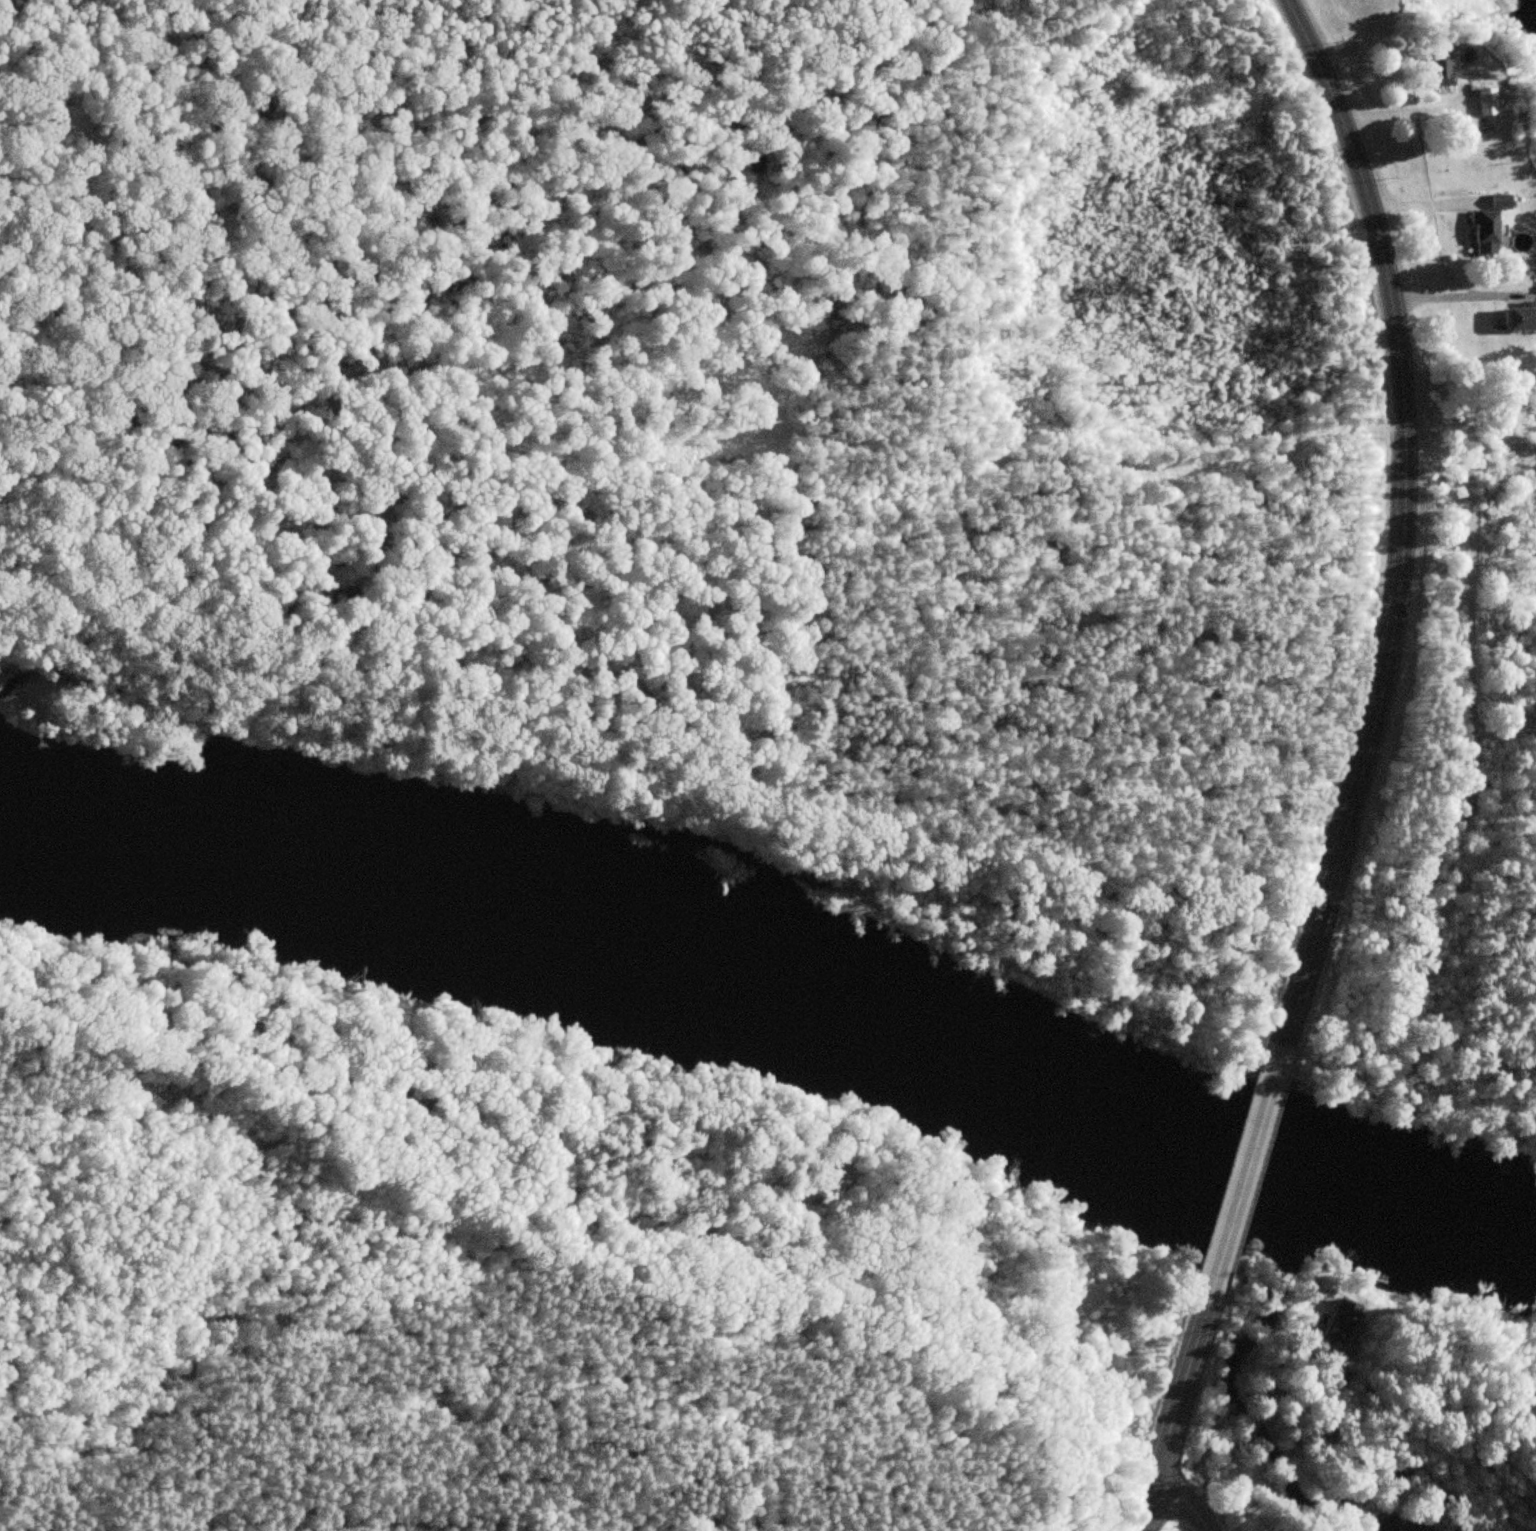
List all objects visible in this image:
building: (1488, 100)
building: (1501, 199)
building: (1486, 229)
building: (1519, 317)
road: (1470, 506)
road: (1399, 524)
river: (774, 999)
road: (1243, 1174)
building: (1343, 1320)
road: (1177, 1412)
road: (1178, 1500)
building: (1385, 1523)
building: (1421, 1529)

